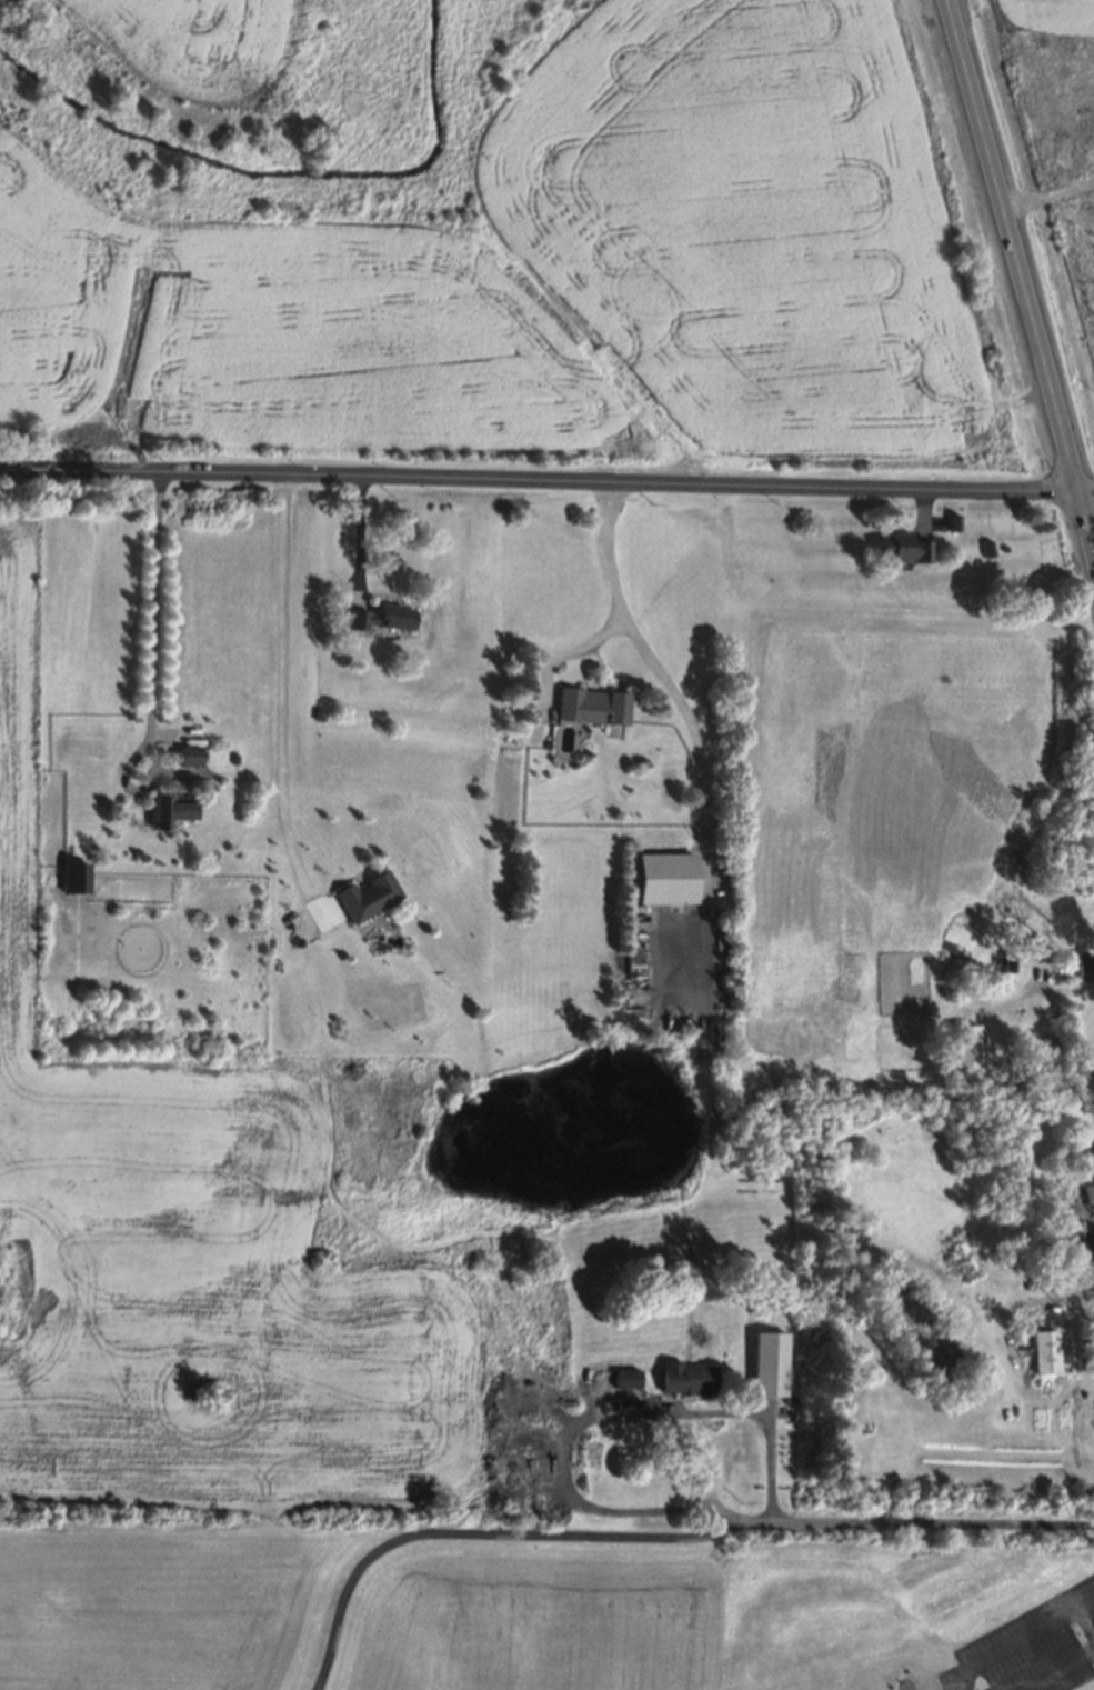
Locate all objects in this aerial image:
road: (837, 139)
road: (1071, 273)
road: (1020, 278)
road: (494, 293)
road: (546, 481)
road: (360, 529)
building: (904, 548)
road: (616, 592)
road: (154, 610)
building: (382, 618)
road: (284, 704)
building: (592, 706)
road: (693, 733)
building: (190, 756)
building: (169, 811)
building: (76, 877)
building: (669, 879)
building: (368, 897)
building: (1086, 967)
road: (1064, 988)
building: (967, 1046)
building: (1090, 1193)
building: (1045, 1351)
building: (769, 1363)
building: (626, 1378)
building: (686, 1379)
road: (589, 1402)
building: (634, 1404)
road: (656, 1537)
road: (1026, 1638)
road: (1060, 1669)
road: (960, 1684)

